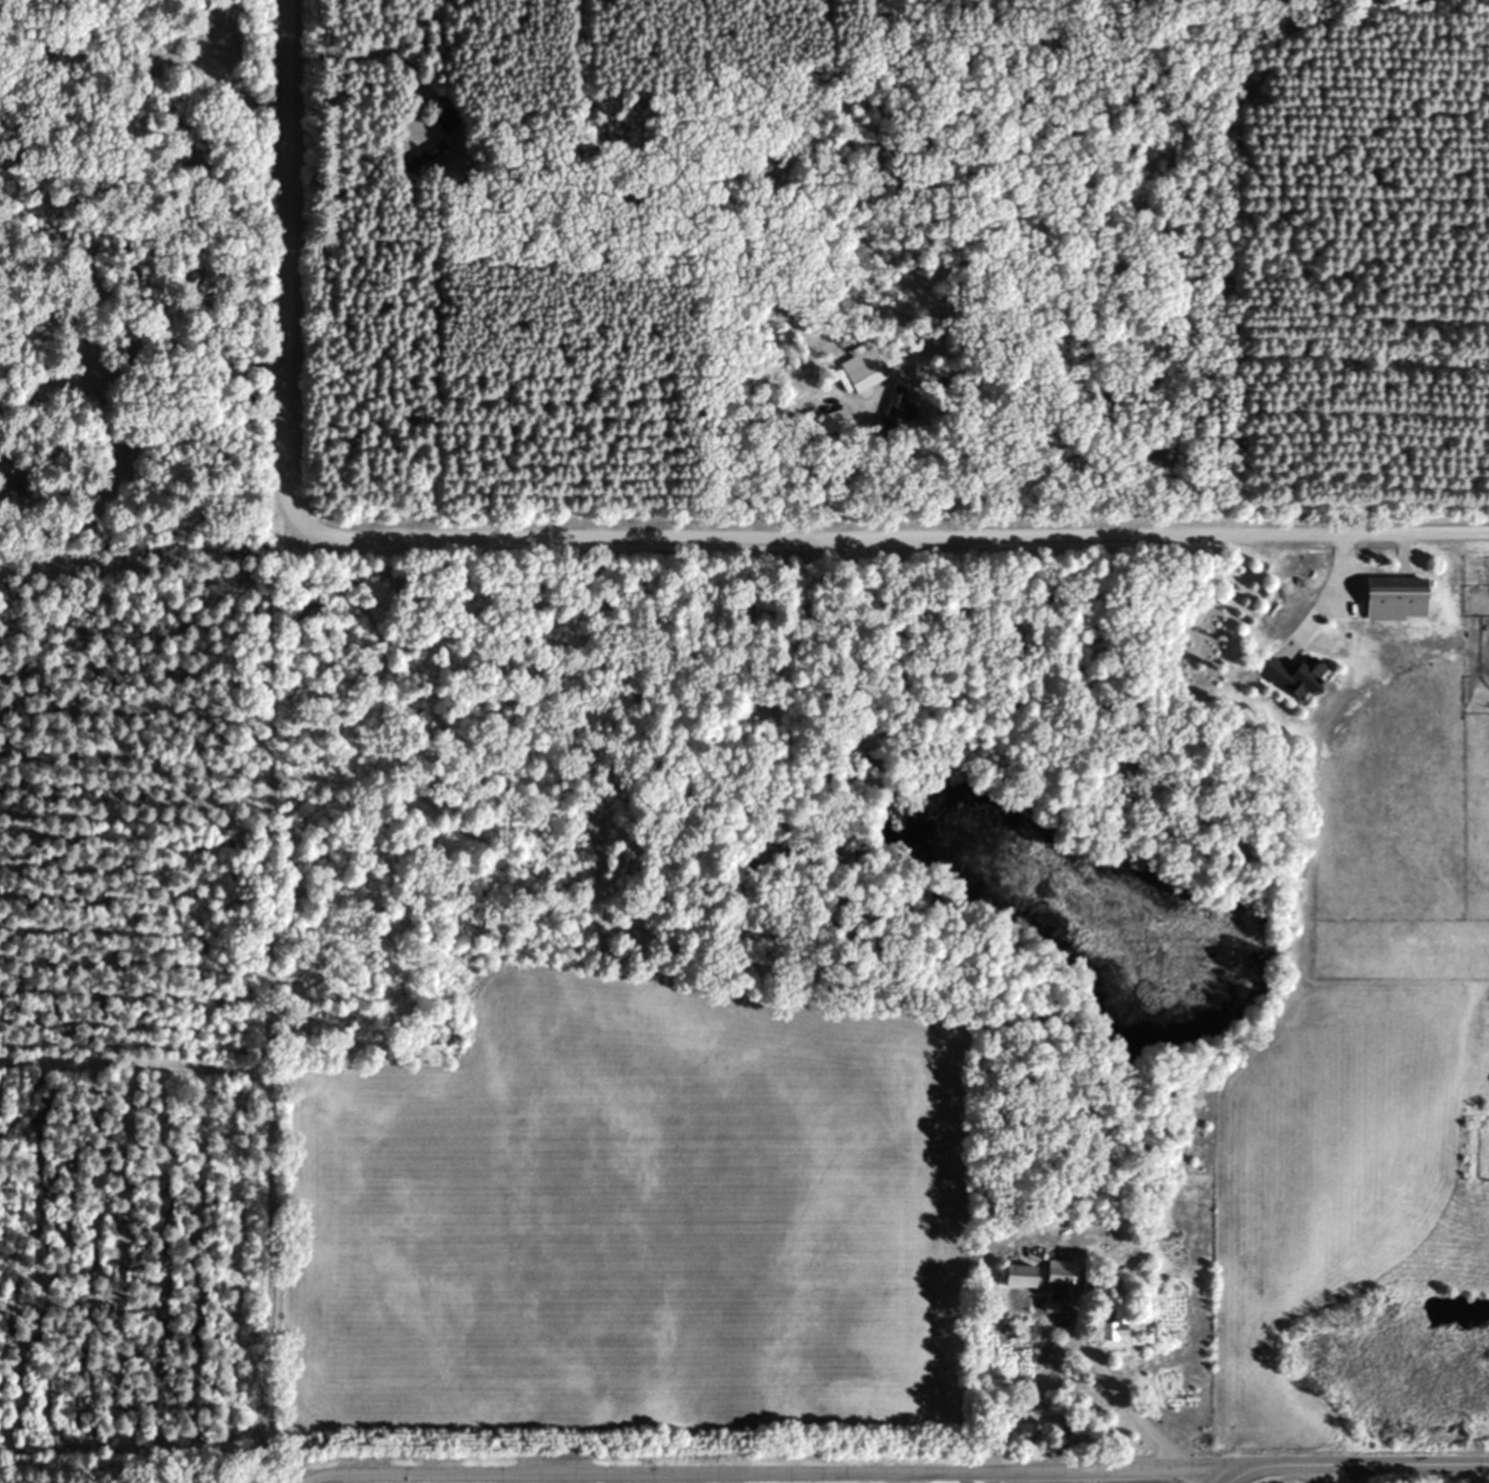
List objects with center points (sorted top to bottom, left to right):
parking lot: (204, 49)
road: (259, 85)
building: (444, 119)
road: (120, 132)
building: (432, 149)
road: (290, 266)
building: (866, 366)
building: (897, 408)
road: (109, 472)
road: (889, 533)
building: (1401, 598)
building: (1299, 676)
building: (1023, 1277)
building: (1115, 1329)
road: (1074, 1335)
road: (774, 1479)
road: (1350, 1480)
road: (1210, 1482)

